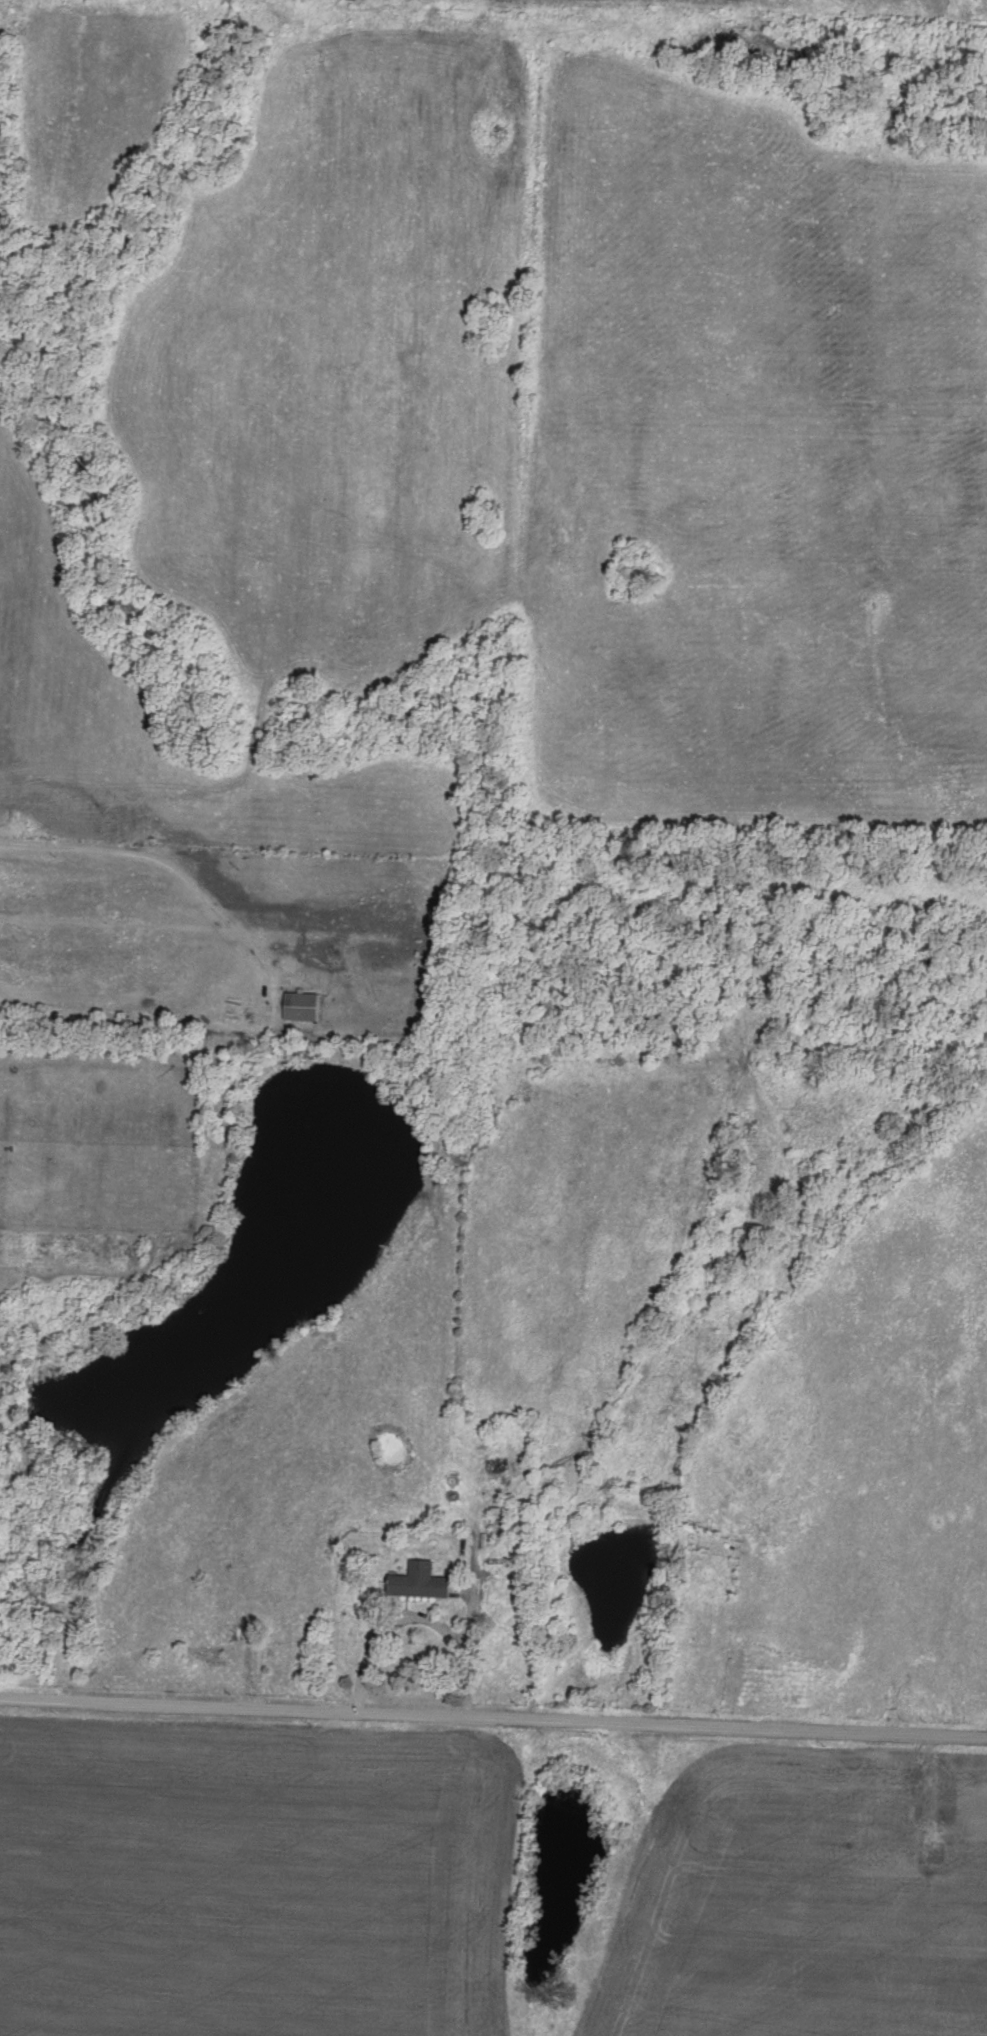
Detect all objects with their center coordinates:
building: (298, 1004)
building: (416, 1580)
road: (384, 1626)
road: (493, 1719)

